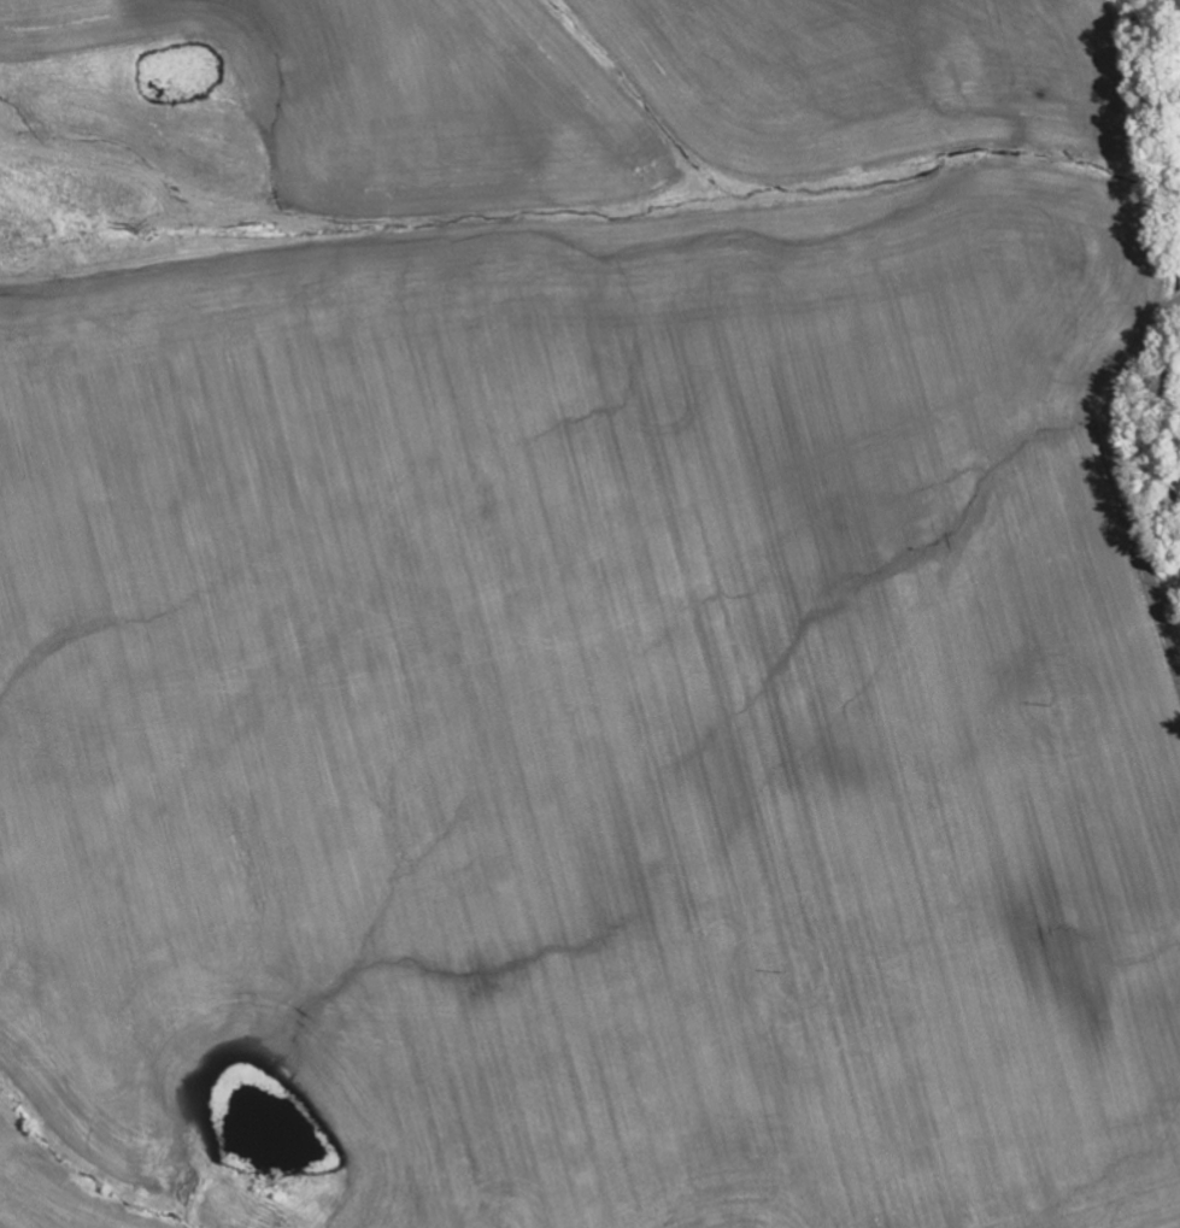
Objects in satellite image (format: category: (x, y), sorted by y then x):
road: (1119, 477)

